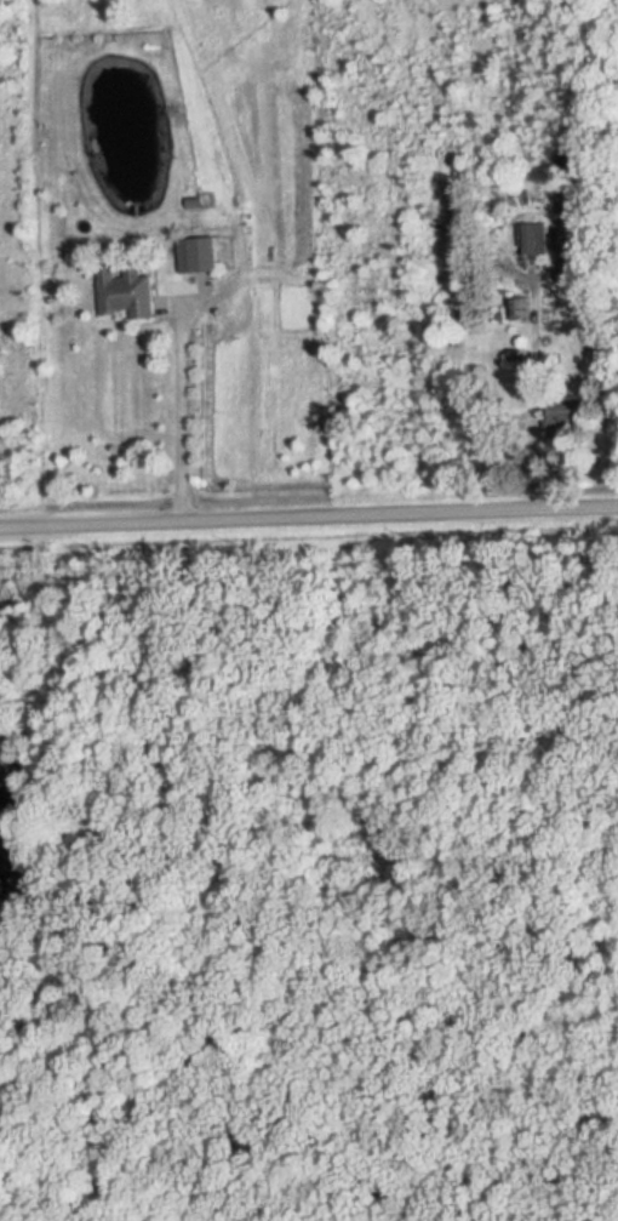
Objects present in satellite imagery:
building: (532, 239)
building: (198, 256)
building: (125, 291)
building: (521, 310)
building: (562, 410)
road: (182, 411)
road: (309, 517)

